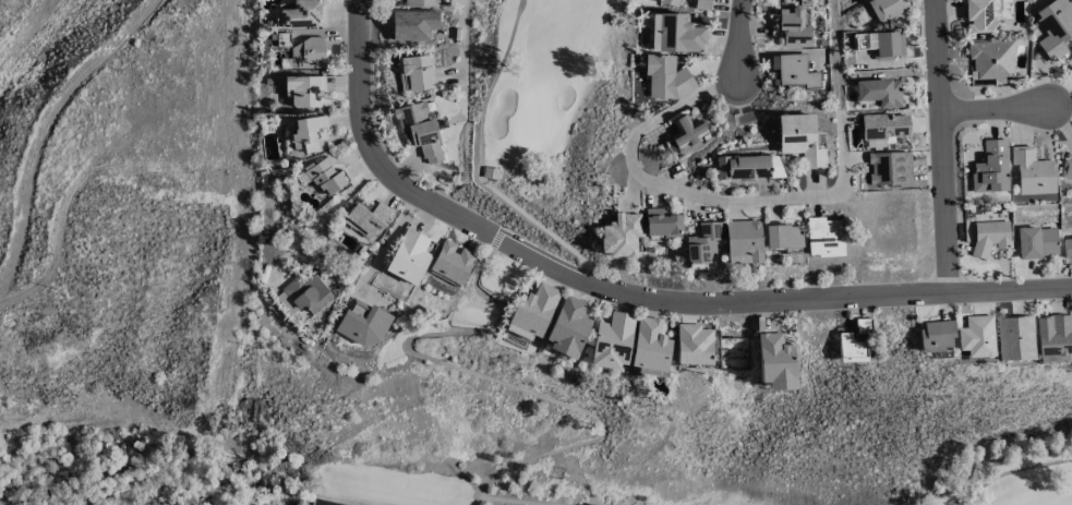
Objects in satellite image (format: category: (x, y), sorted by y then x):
building: (670, 2)
building: (420, 3)
building: (701, 4)
building: (886, 9)
building: (302, 14)
building: (980, 17)
building: (793, 27)
building: (1053, 28)
building: (675, 34)
road: (737, 44)
building: (884, 45)
building: (306, 53)
road: (461, 56)
building: (989, 61)
building: (1071, 69)
building: (795, 72)
building: (414, 73)
building: (665, 76)
building: (304, 89)
building: (878, 93)
road: (999, 107)
building: (883, 127)
building: (419, 131)
building: (306, 133)
building: (684, 135)
building: (798, 139)
road: (941, 143)
building: (747, 168)
building: (990, 168)
building: (887, 170)
building: (1065, 170)
building: (1031, 171)
building: (324, 176)
road: (752, 205)
road: (323, 216)
building: (368, 219)
building: (661, 224)
building: (619, 236)
building: (782, 236)
building: (822, 237)
building: (989, 237)
road: (390, 239)
building: (702, 242)
building: (743, 242)
building: (1036, 242)
building: (1067, 247)
building: (408, 257)
park: (514, 258)
building: (451, 262)
road: (627, 286)
building: (305, 292)
building: (534, 310)
building: (362, 323)
building: (567, 327)
building: (936, 334)
building: (976, 336)
building: (1015, 338)
building: (1055, 338)
building: (612, 340)
building: (853, 341)
building: (692, 345)
building: (649, 347)
building: (774, 362)

